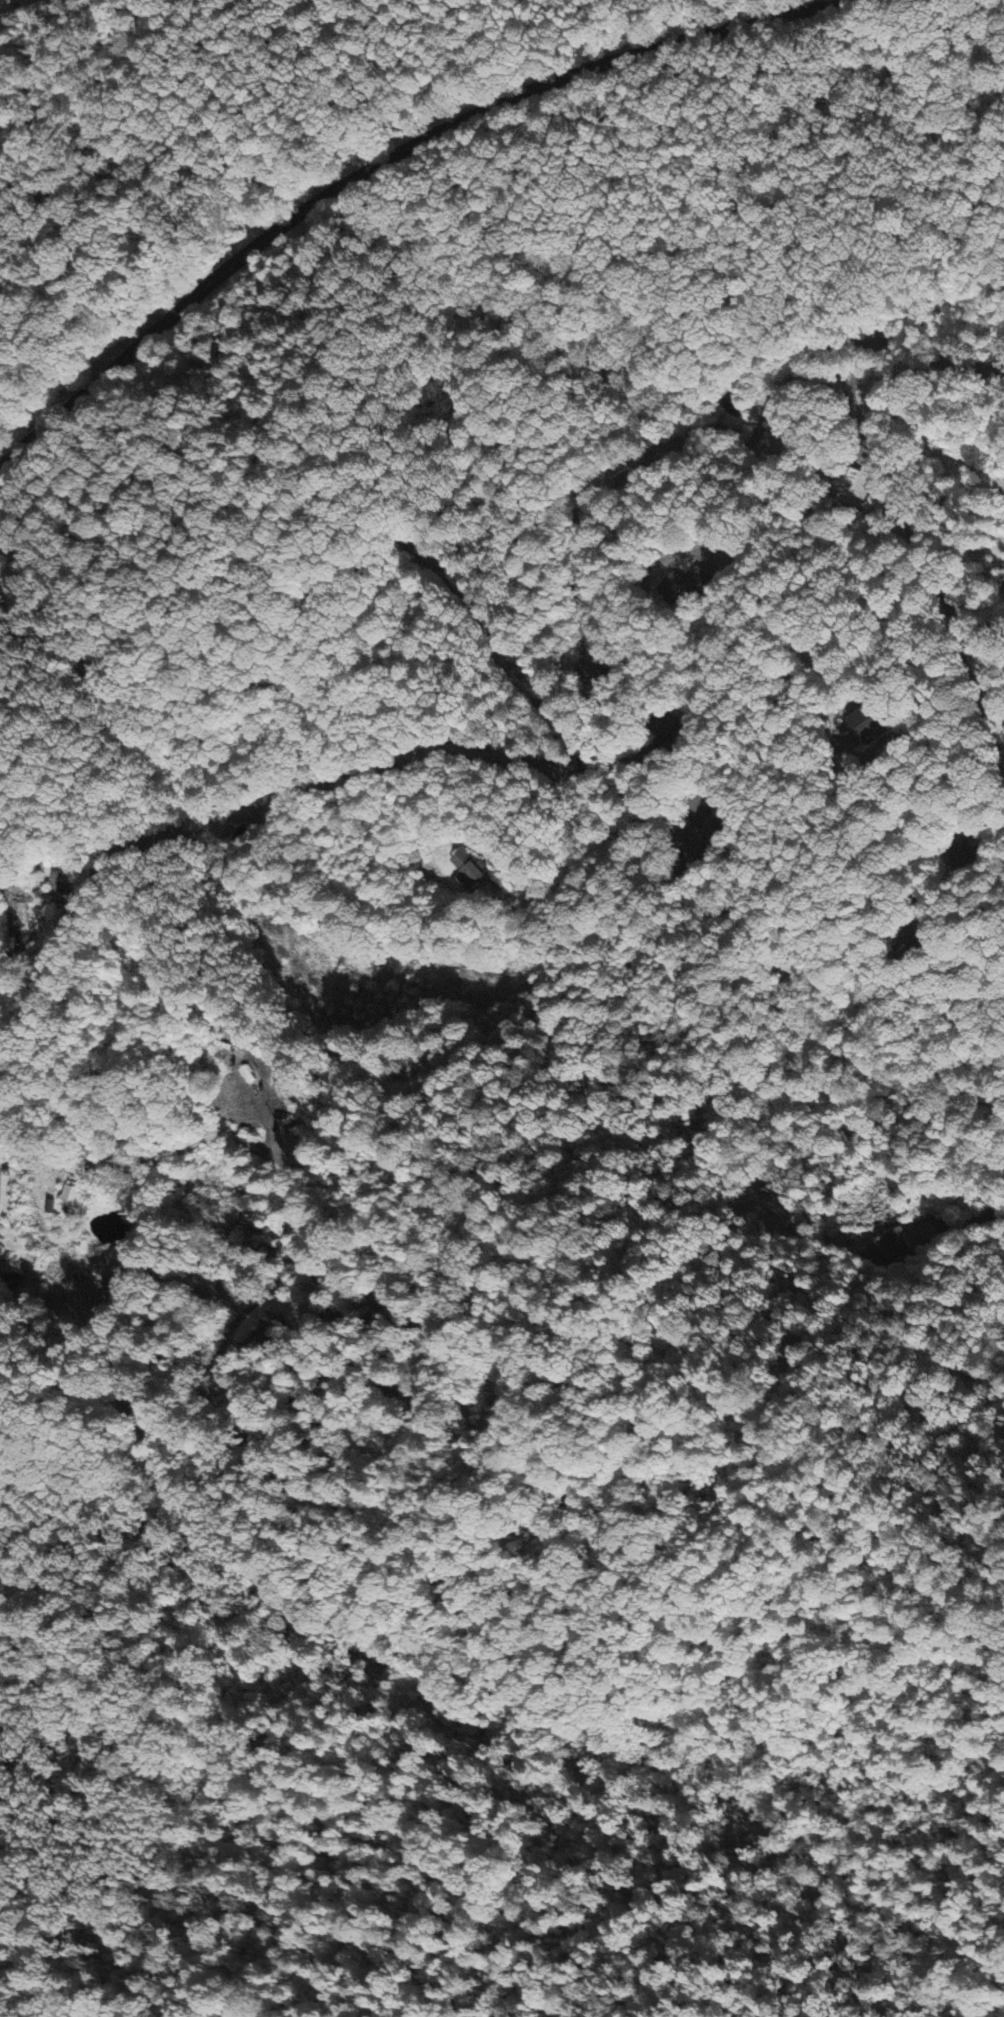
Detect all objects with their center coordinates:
road: (382, 160)
road: (462, 324)
road: (909, 523)
road: (985, 627)
road: (561, 687)
road: (886, 742)
road: (893, 860)
building: (469, 874)
building: (56, 888)
road: (14, 965)
road: (248, 1142)
building: (73, 1197)
road: (997, 1201)
building: (887, 1247)
building: (271, 1325)

